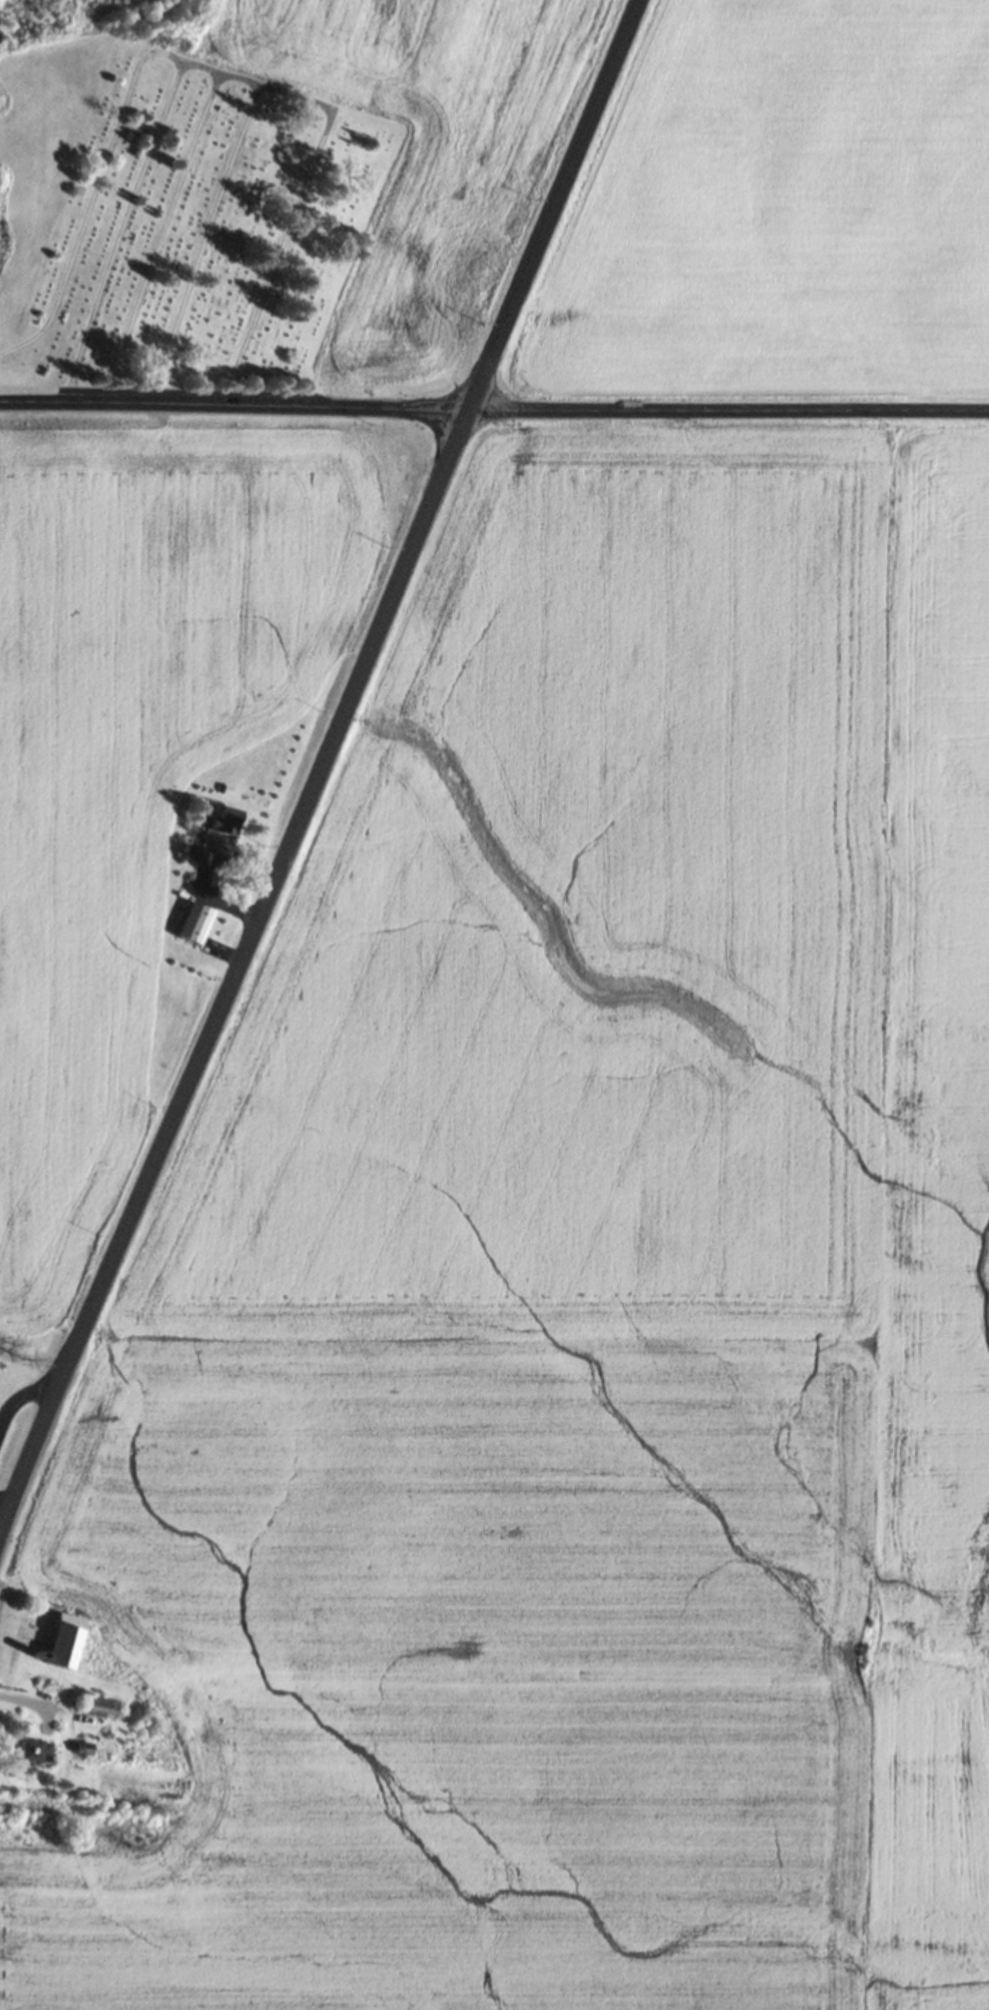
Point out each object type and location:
road: (494, 409)
road: (321, 763)
building: (222, 820)
building: (190, 924)
road: (18, 1394)
road: (1, 1515)
building: (60, 1640)
building: (97, 1707)
building: (31, 1750)

